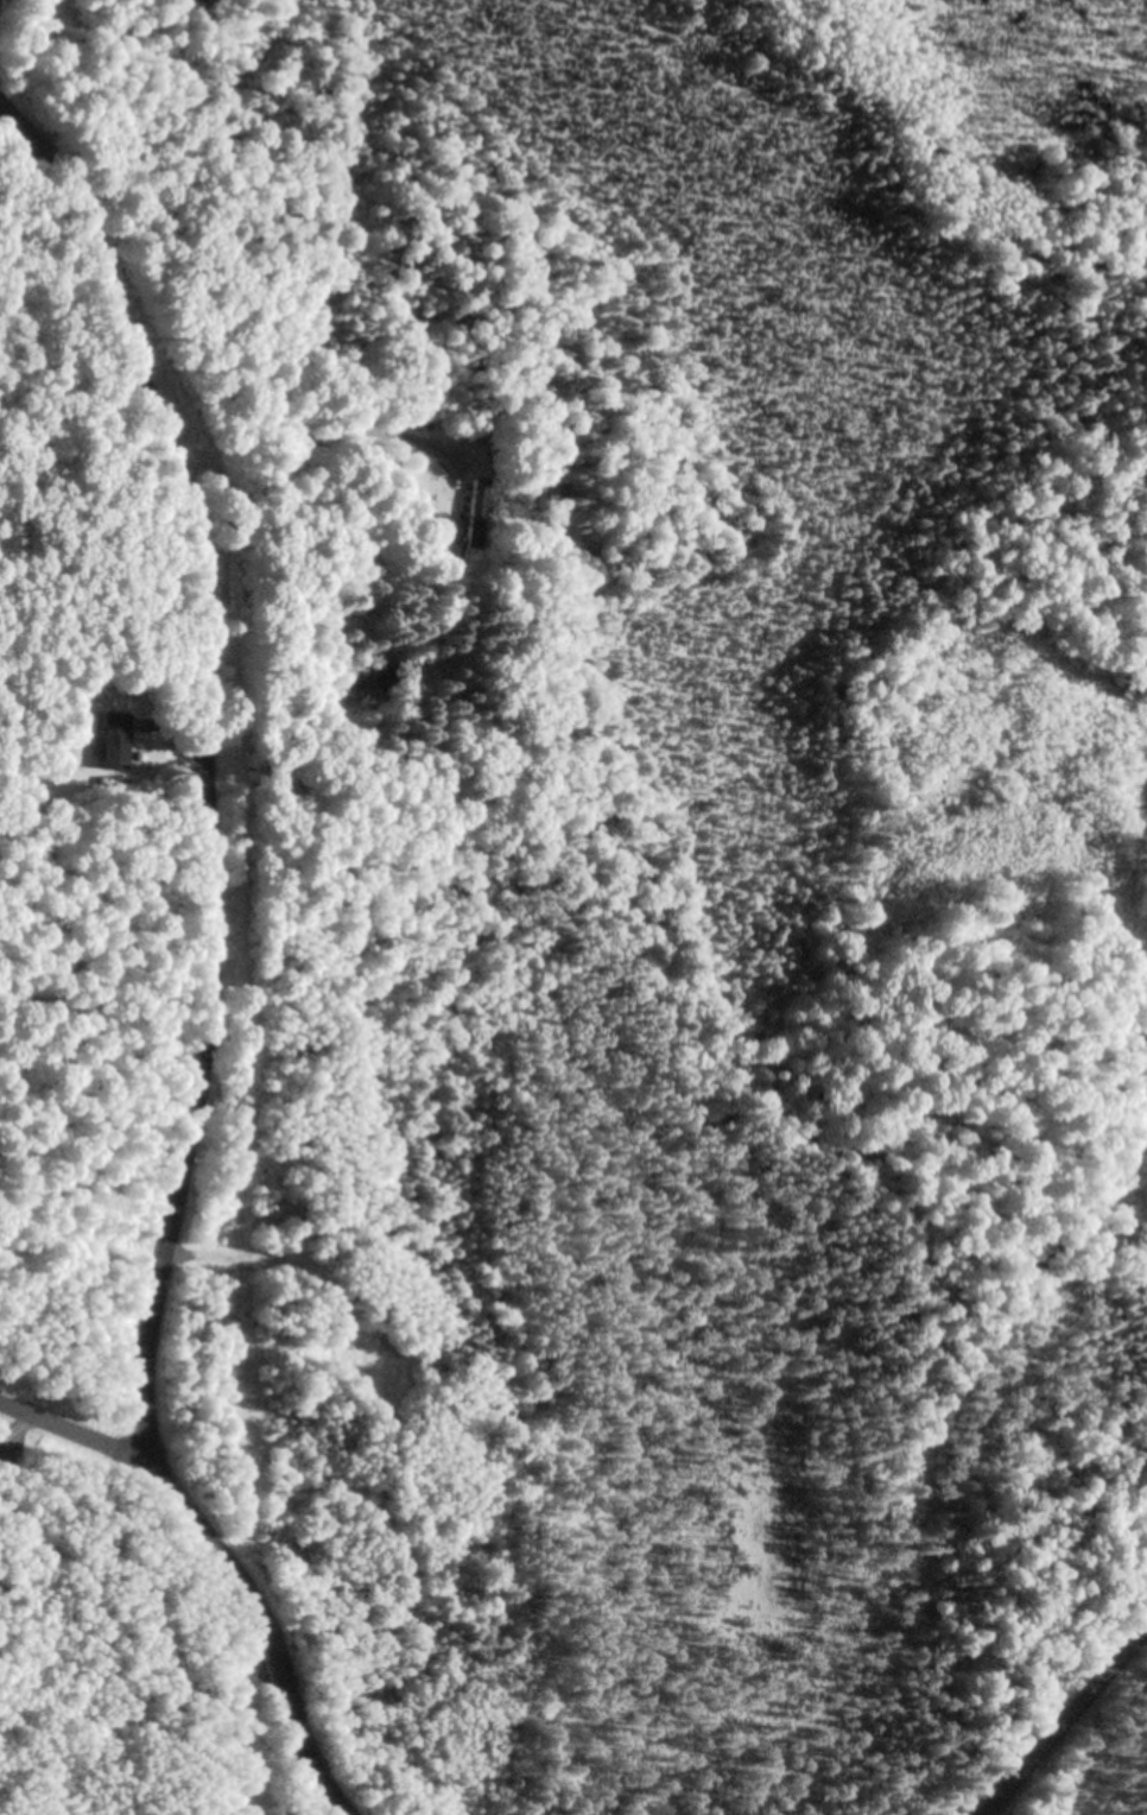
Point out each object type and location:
building: (114, 744)
road: (207, 1031)
road: (74, 1434)
road: (1069, 1729)

